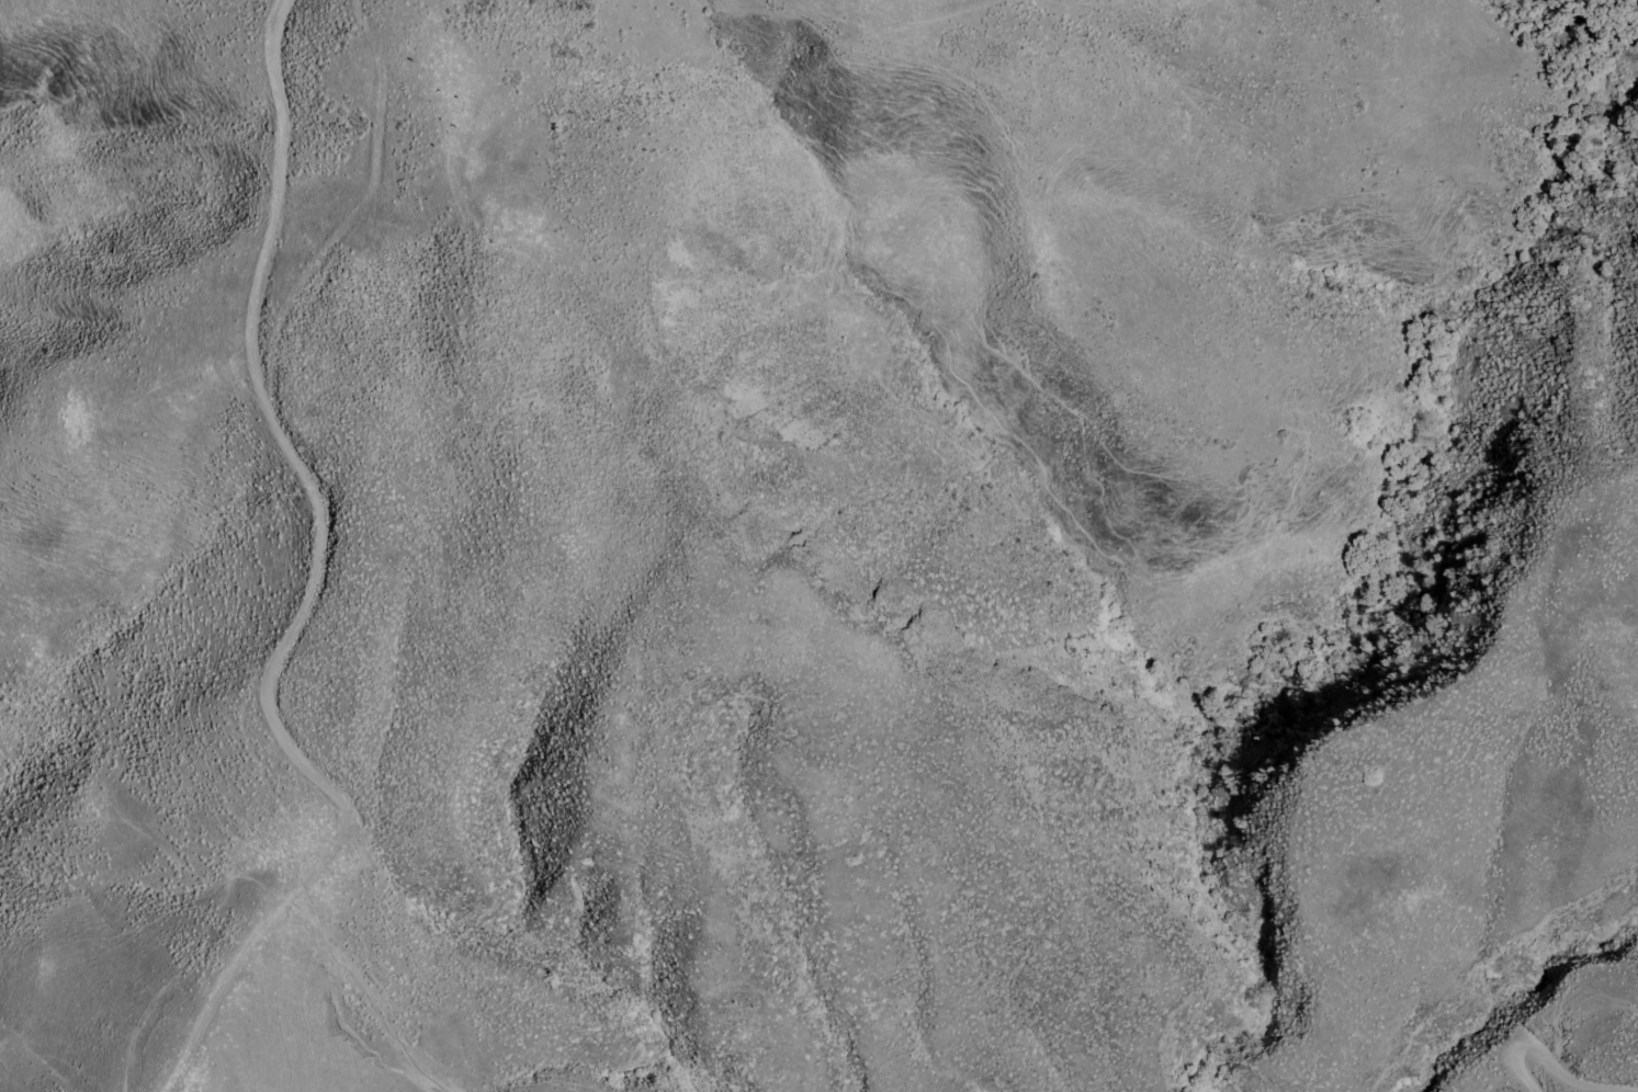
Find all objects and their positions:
road: (1543, 1051)

